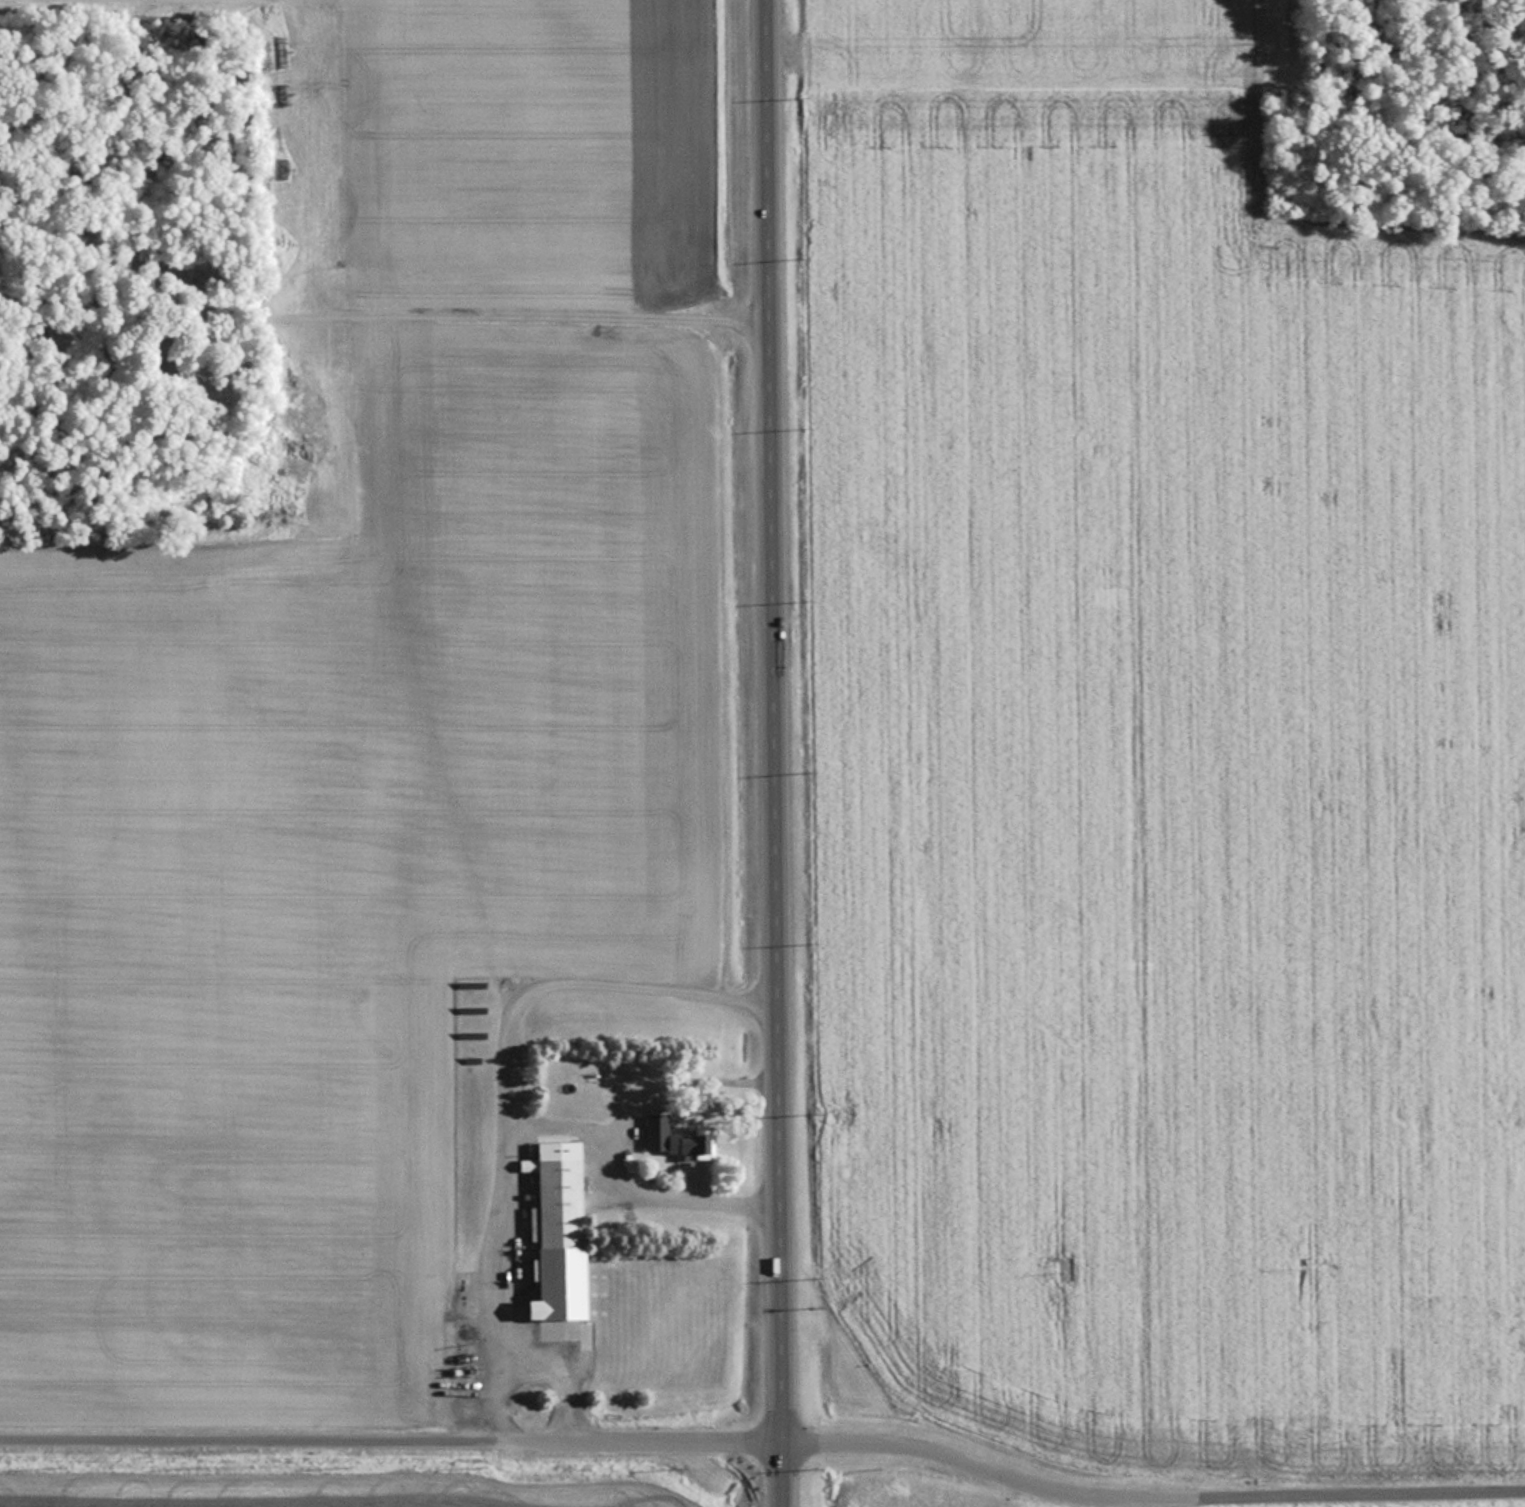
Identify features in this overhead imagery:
road: (778, 753)
road: (676, 1070)
road: (512, 1080)
building: (676, 1139)
road: (631, 1178)
building: (563, 1235)
road: (568, 1368)
road: (800, 1439)
road: (246, 1443)
road: (1312, 1493)

